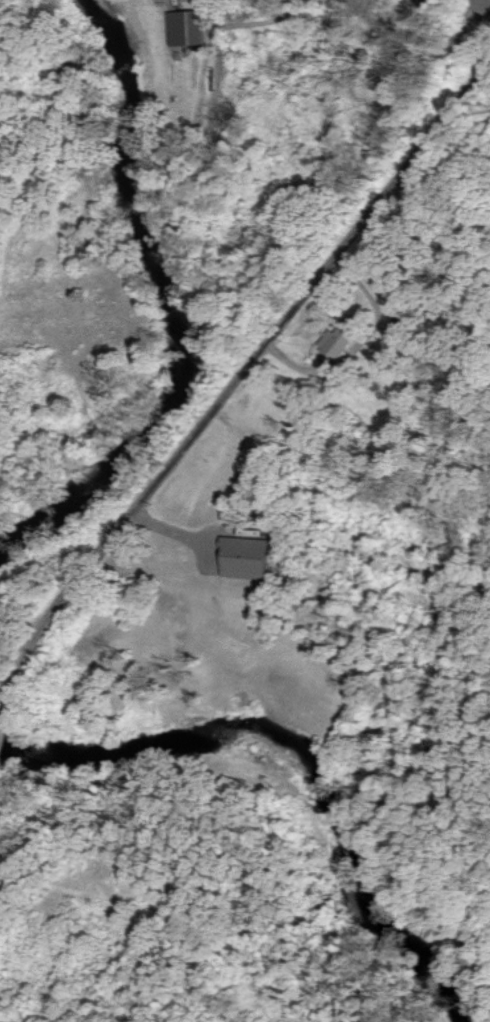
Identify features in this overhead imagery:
building: (182, 28)
building: (335, 341)
road: (246, 358)
building: (244, 558)

